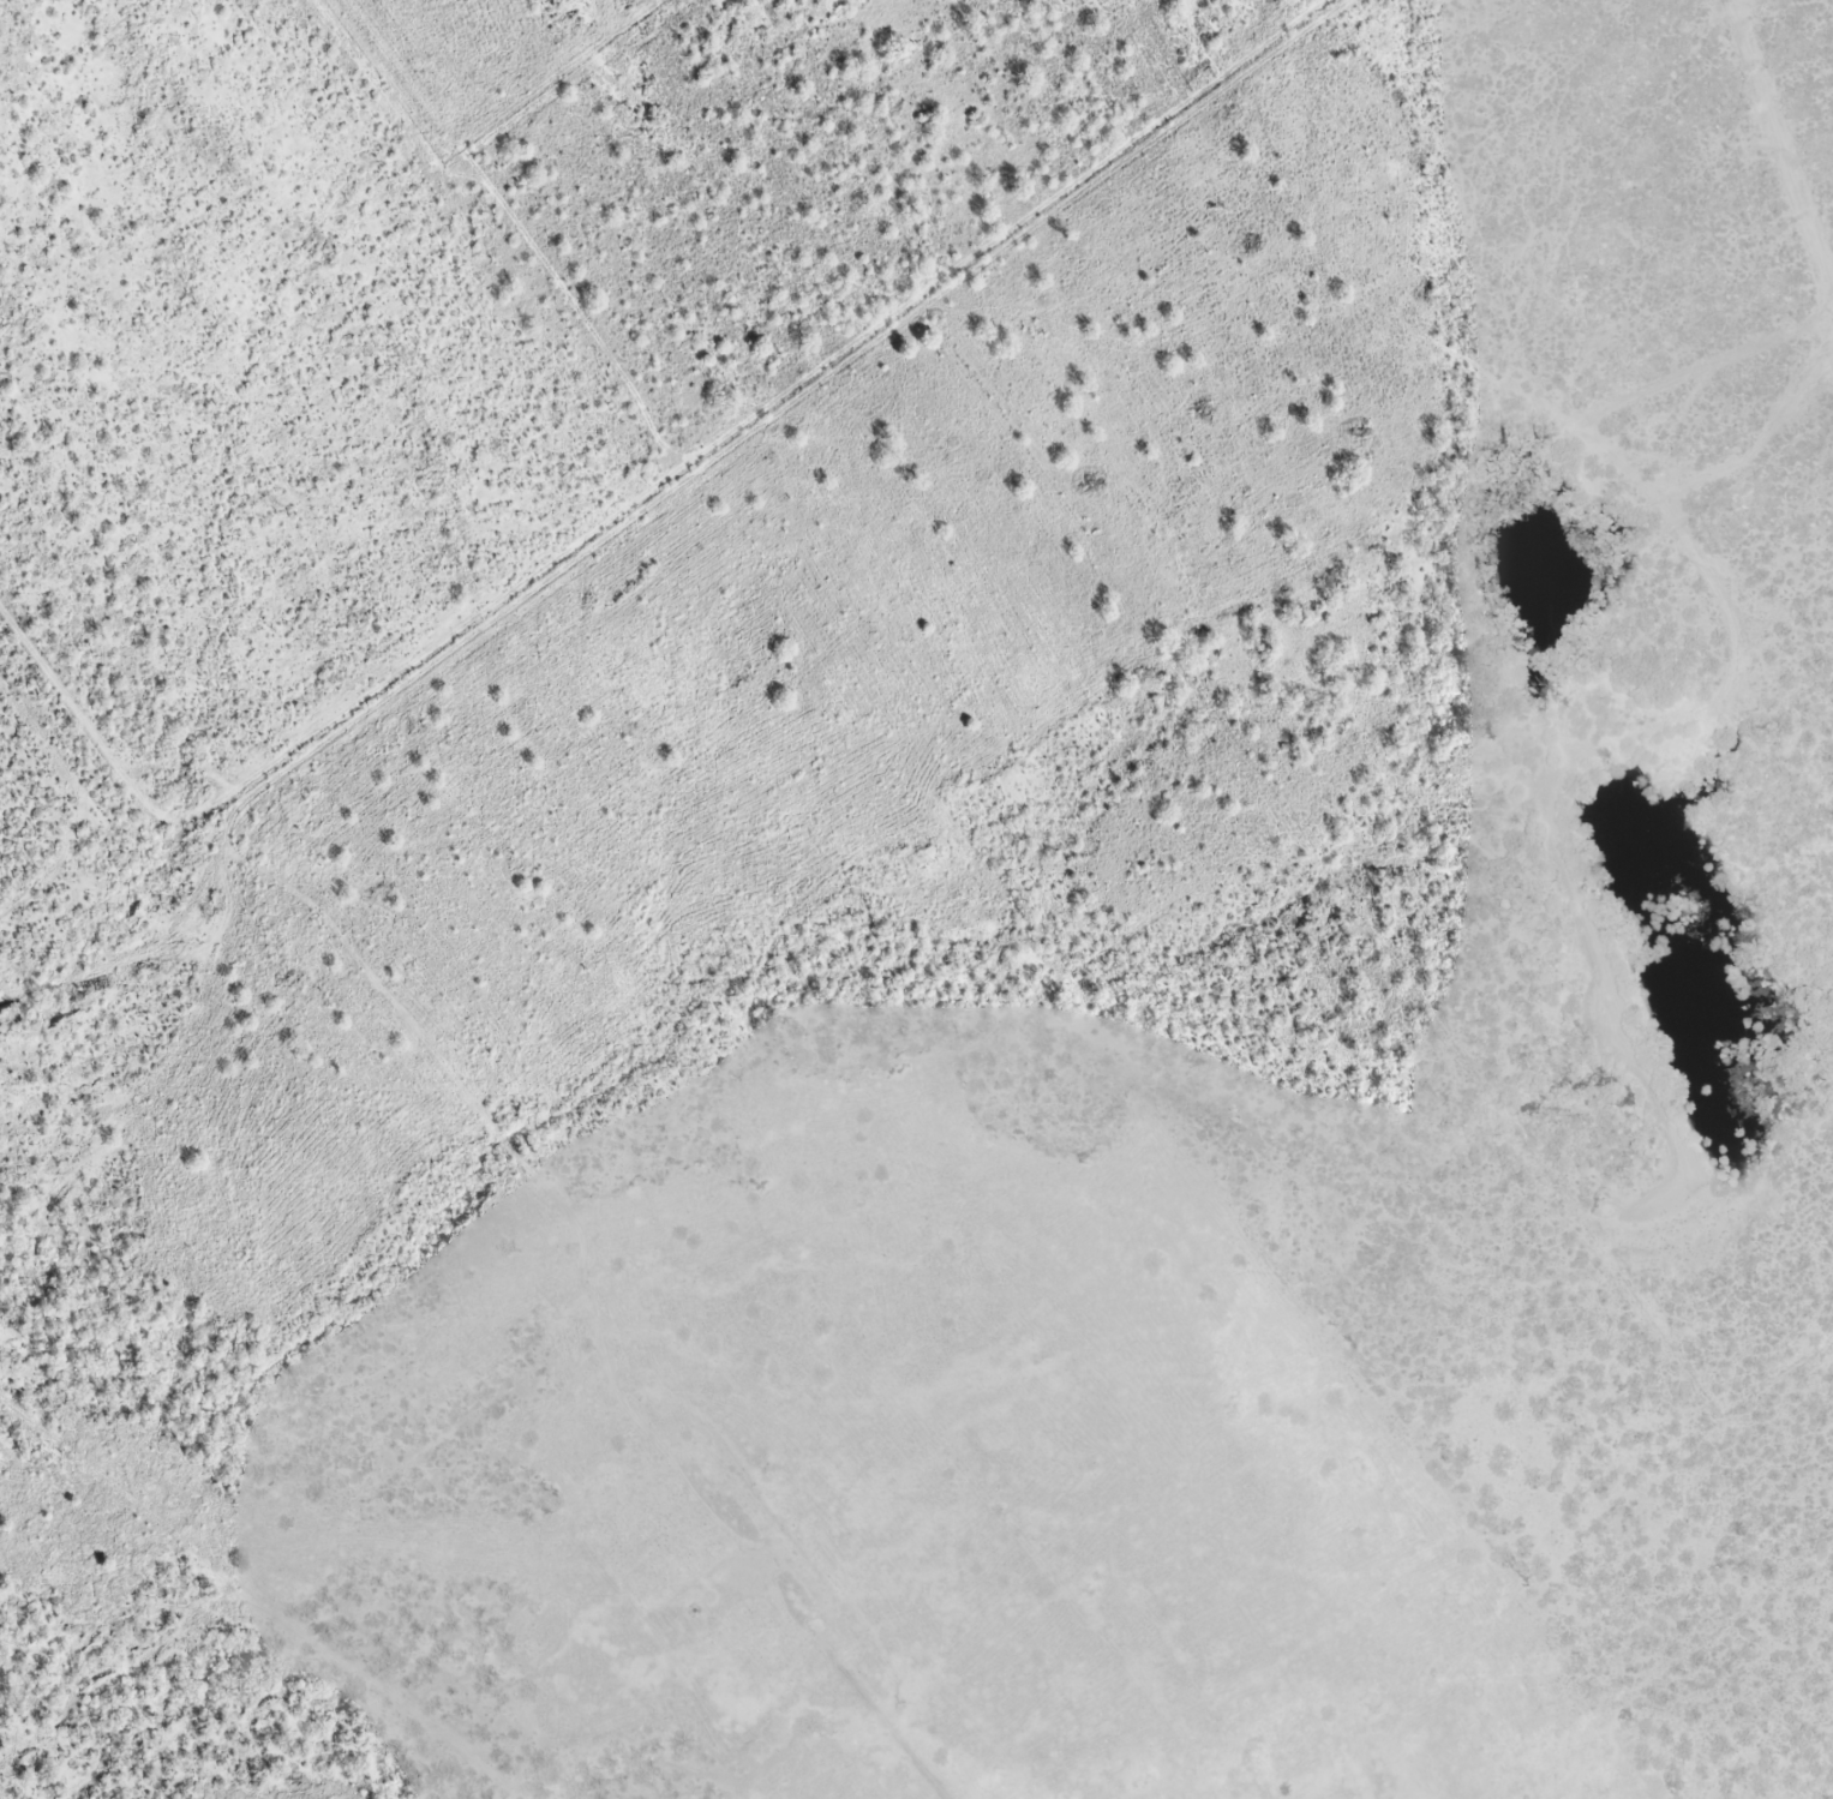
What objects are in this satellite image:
road: (1730, 636)
road: (1777, 1686)

